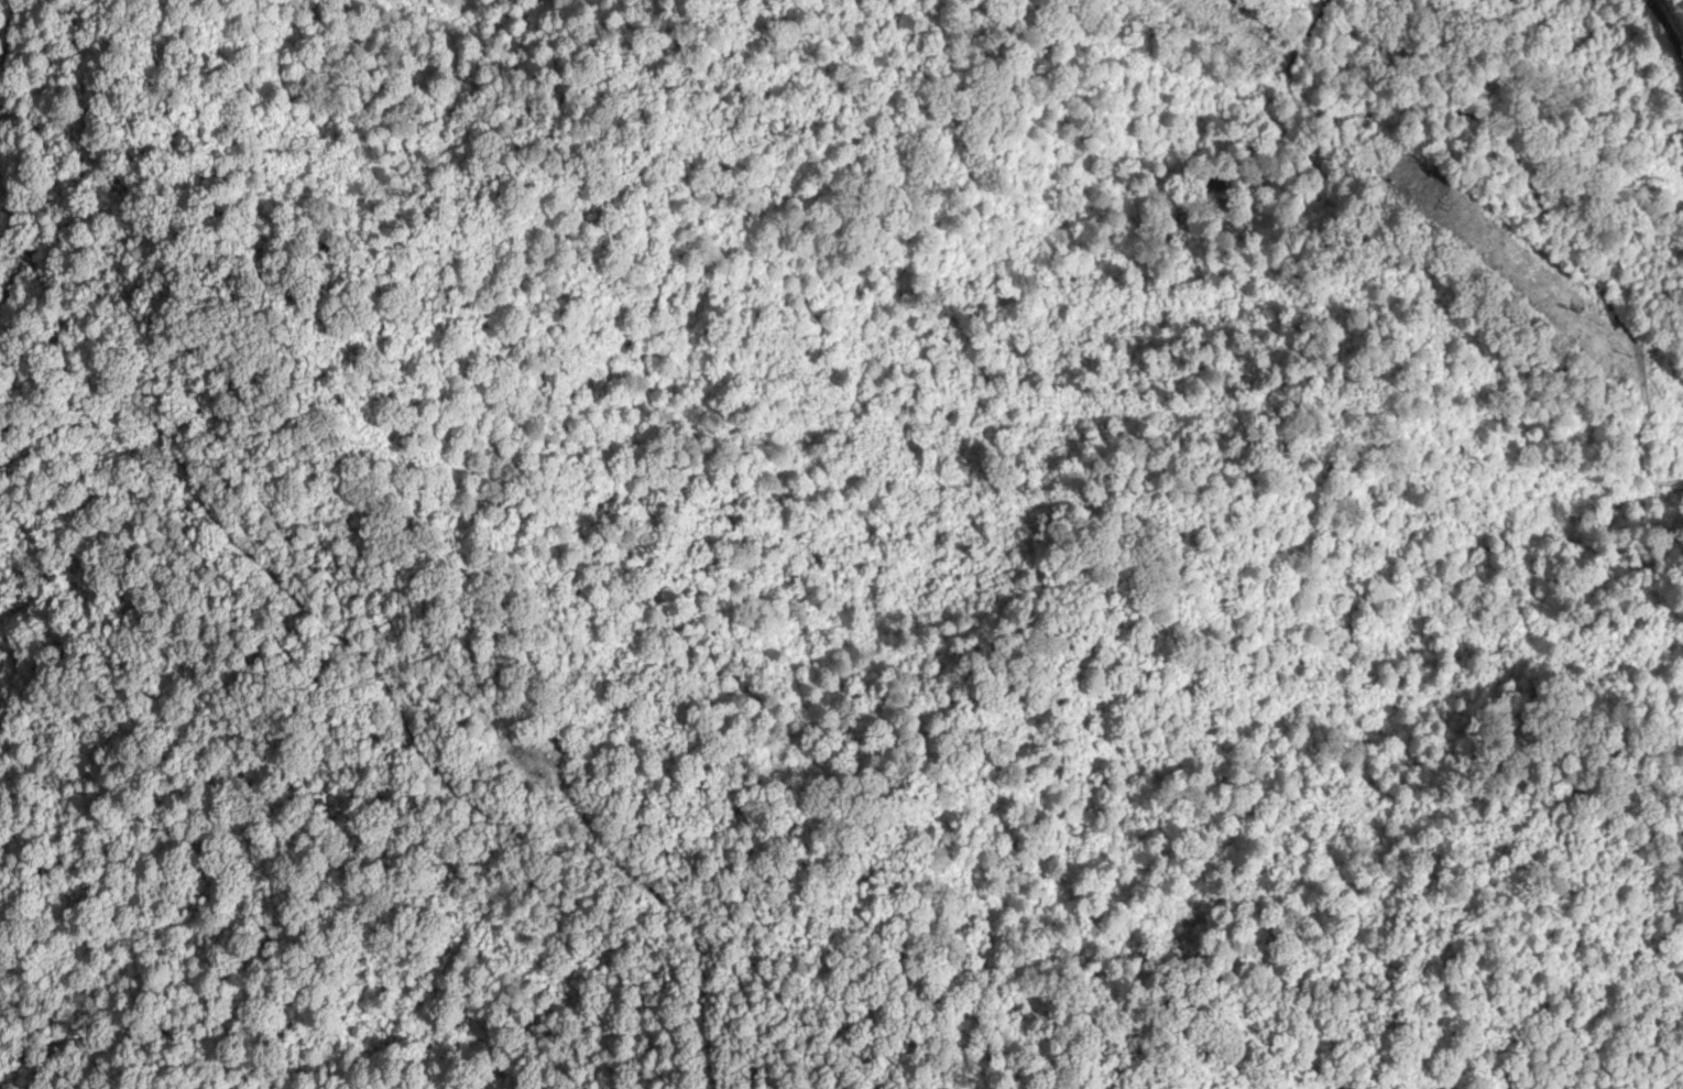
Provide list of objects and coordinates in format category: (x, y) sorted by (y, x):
road: (1671, 20)

